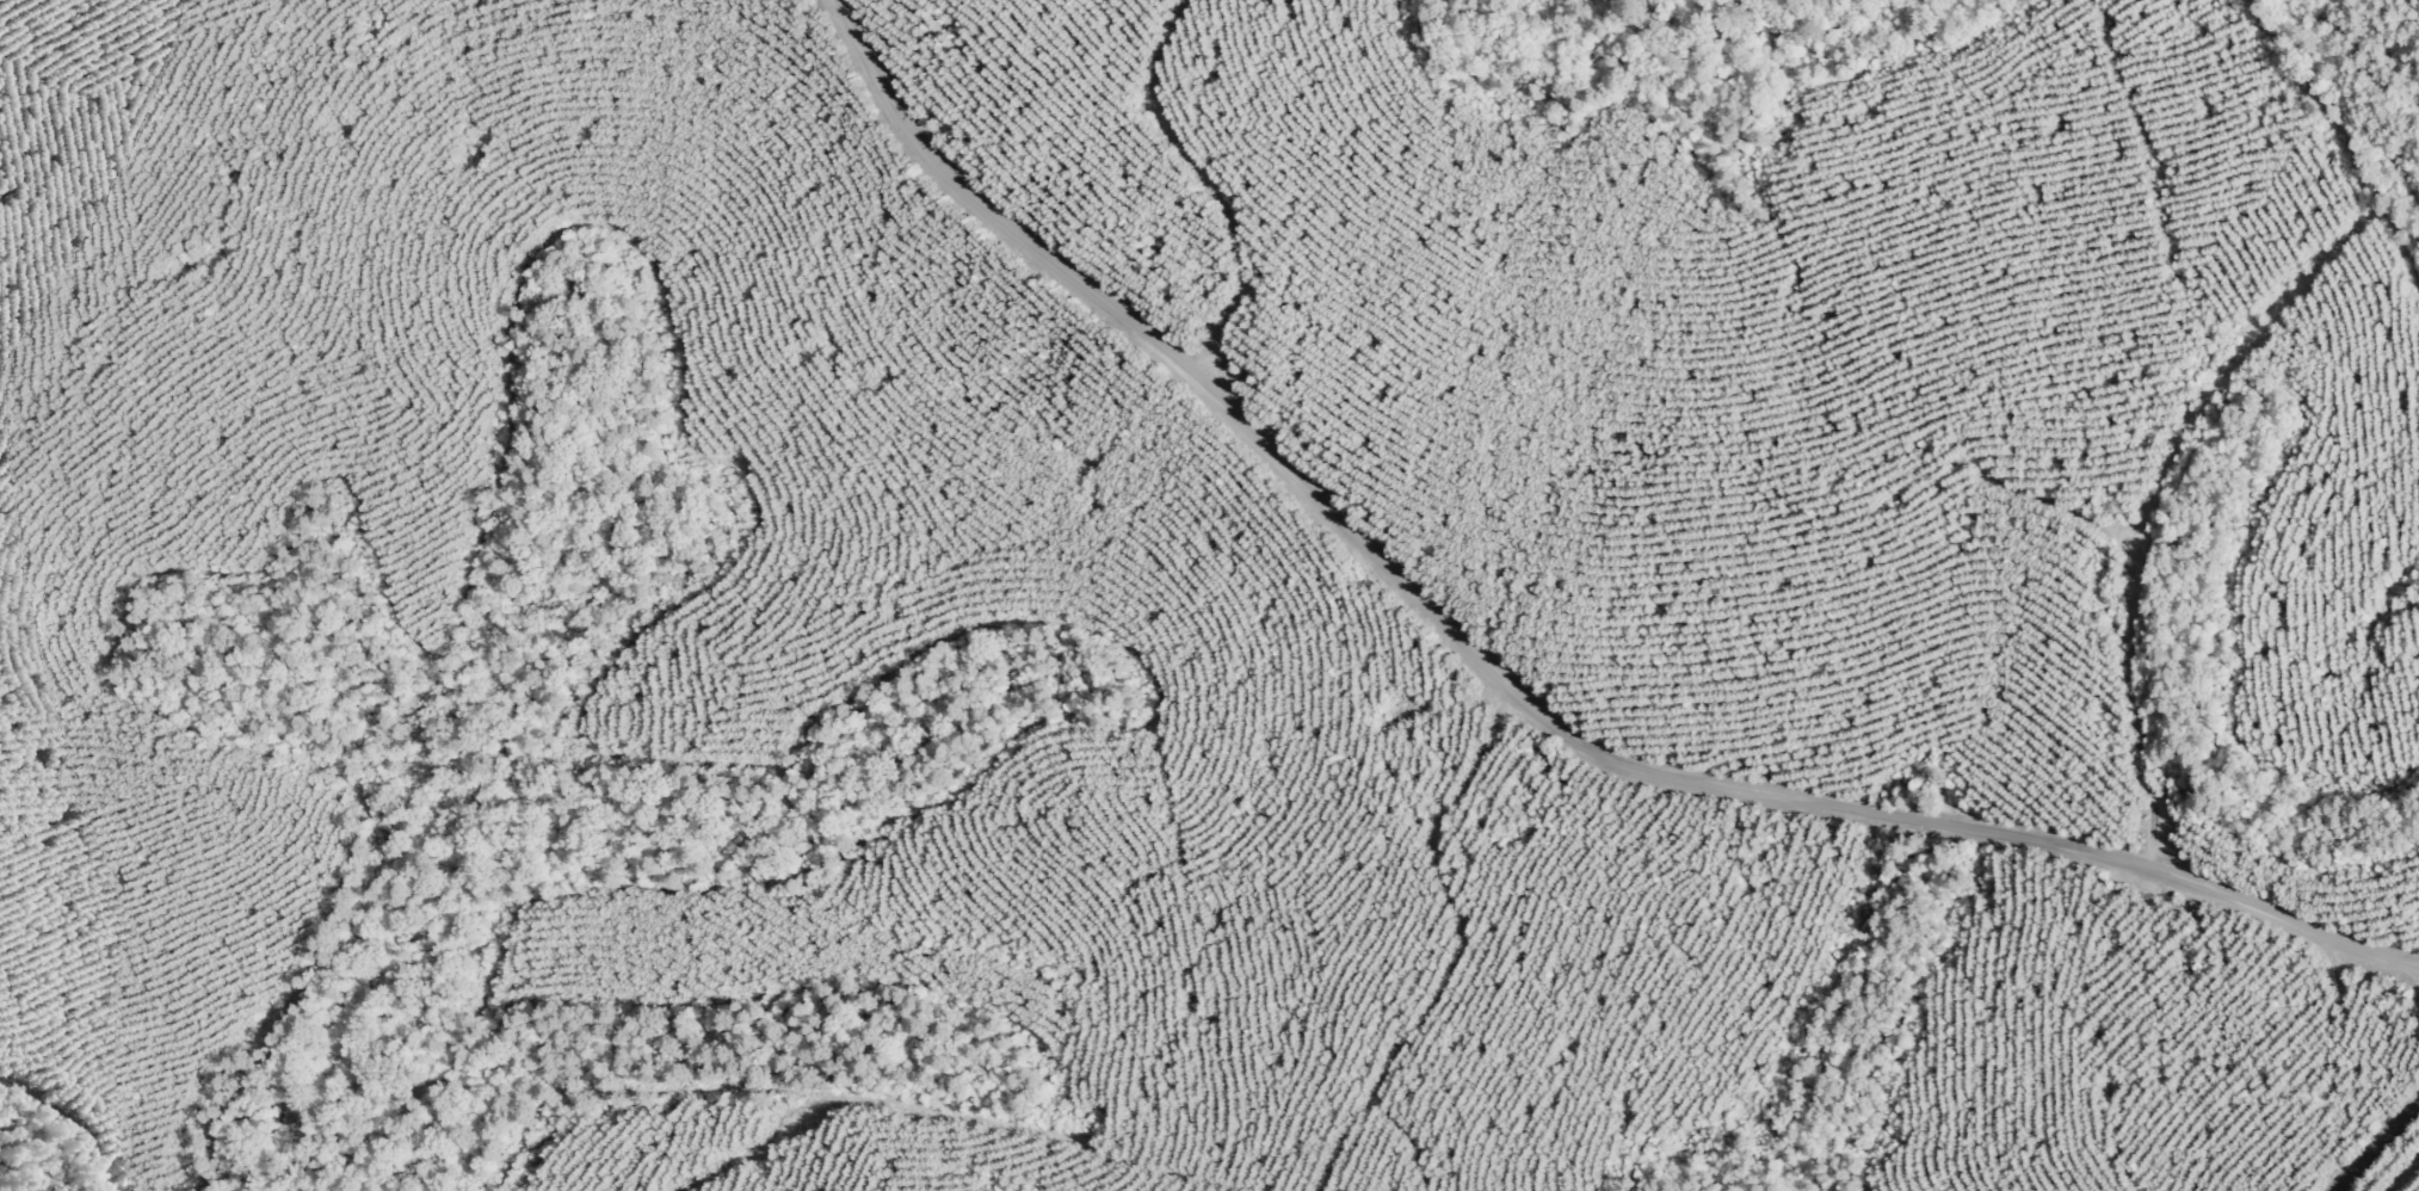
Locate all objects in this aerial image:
road: (1497, 669)
road: (1217, 860)
road: (2403, 1174)

